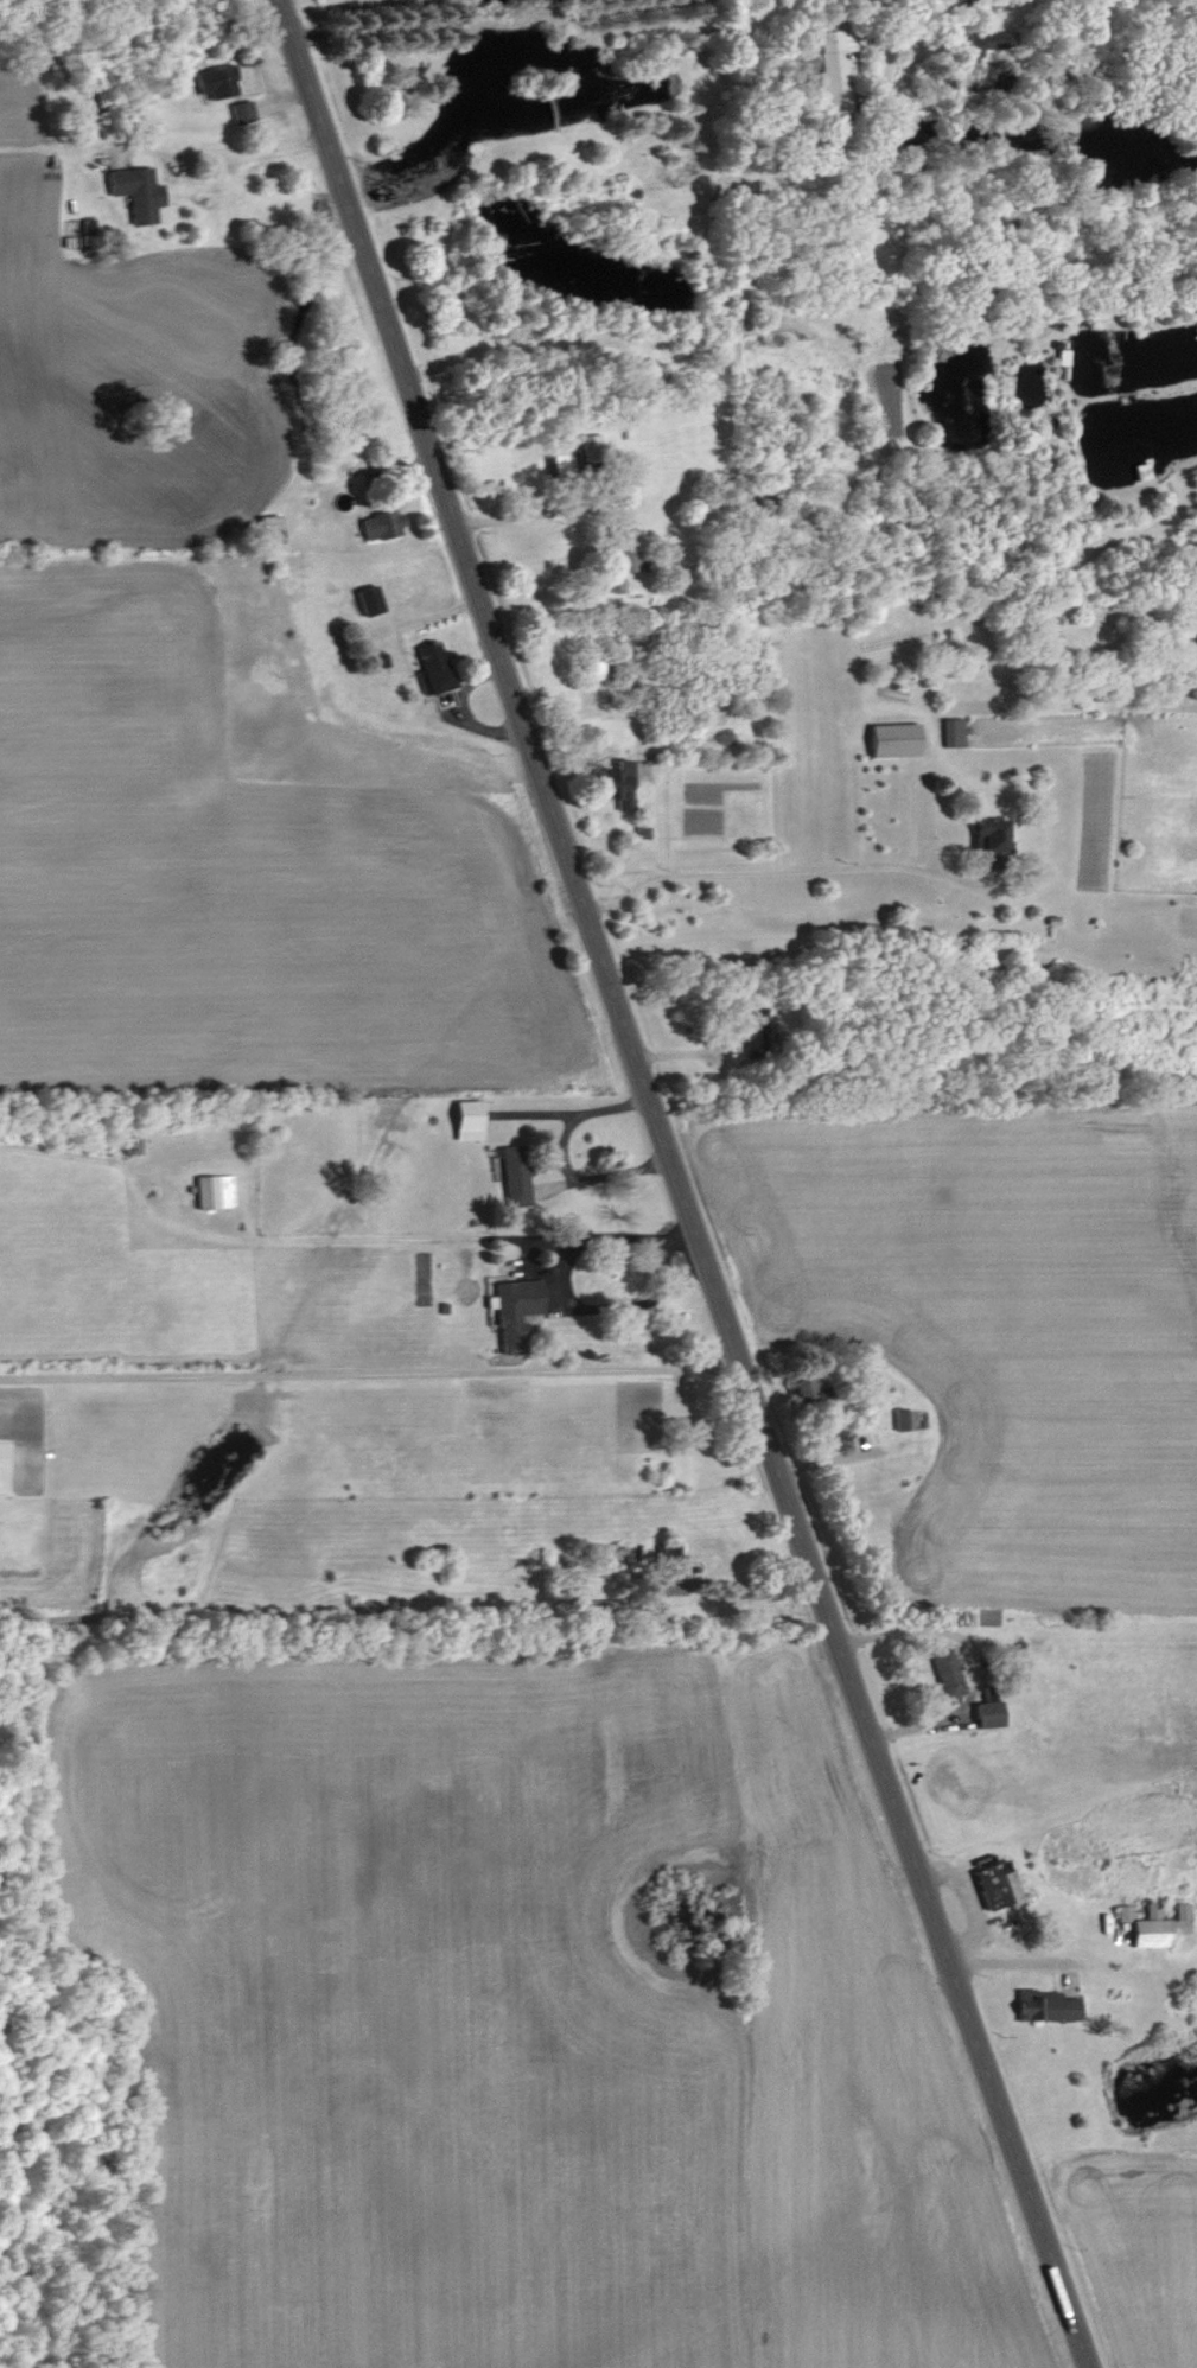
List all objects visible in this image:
building: (956, 4)
road: (497, 19)
building: (986, 40)
road: (889, 57)
building: (804, 62)
building: (832, 68)
road: (906, 70)
building: (214, 82)
building: (240, 112)
road: (246, 151)
building: (133, 192)
building: (558, 344)
building: (1058, 357)
building: (587, 448)
building: (559, 458)
building: (1140, 472)
road: (528, 513)
building: (380, 524)
building: (266, 529)
building: (613, 566)
building: (8, 581)
building: (365, 600)
building: (636, 637)
building: (592, 664)
building: (429, 668)
building: (949, 732)
building: (890, 739)
building: (612, 784)
building: (986, 844)
road: (778, 868)
building: (751, 1031)
building: (464, 1119)
building: (129, 1146)
building: (512, 1175)
road: (677, 1184)
building: (210, 1191)
road: (611, 1234)
building: (512, 1312)
road: (511, 1370)
road: (274, 1373)
road: (133, 1375)
building: (804, 1392)
building: (900, 1419)
building: (702, 1555)
building: (586, 1605)
building: (369, 1609)
building: (944, 1673)
building: (985, 1713)
building: (994, 1885)
building: (1151, 1921)
road: (1006, 1961)
building: (1042, 2005)
road: (8, 2353)

